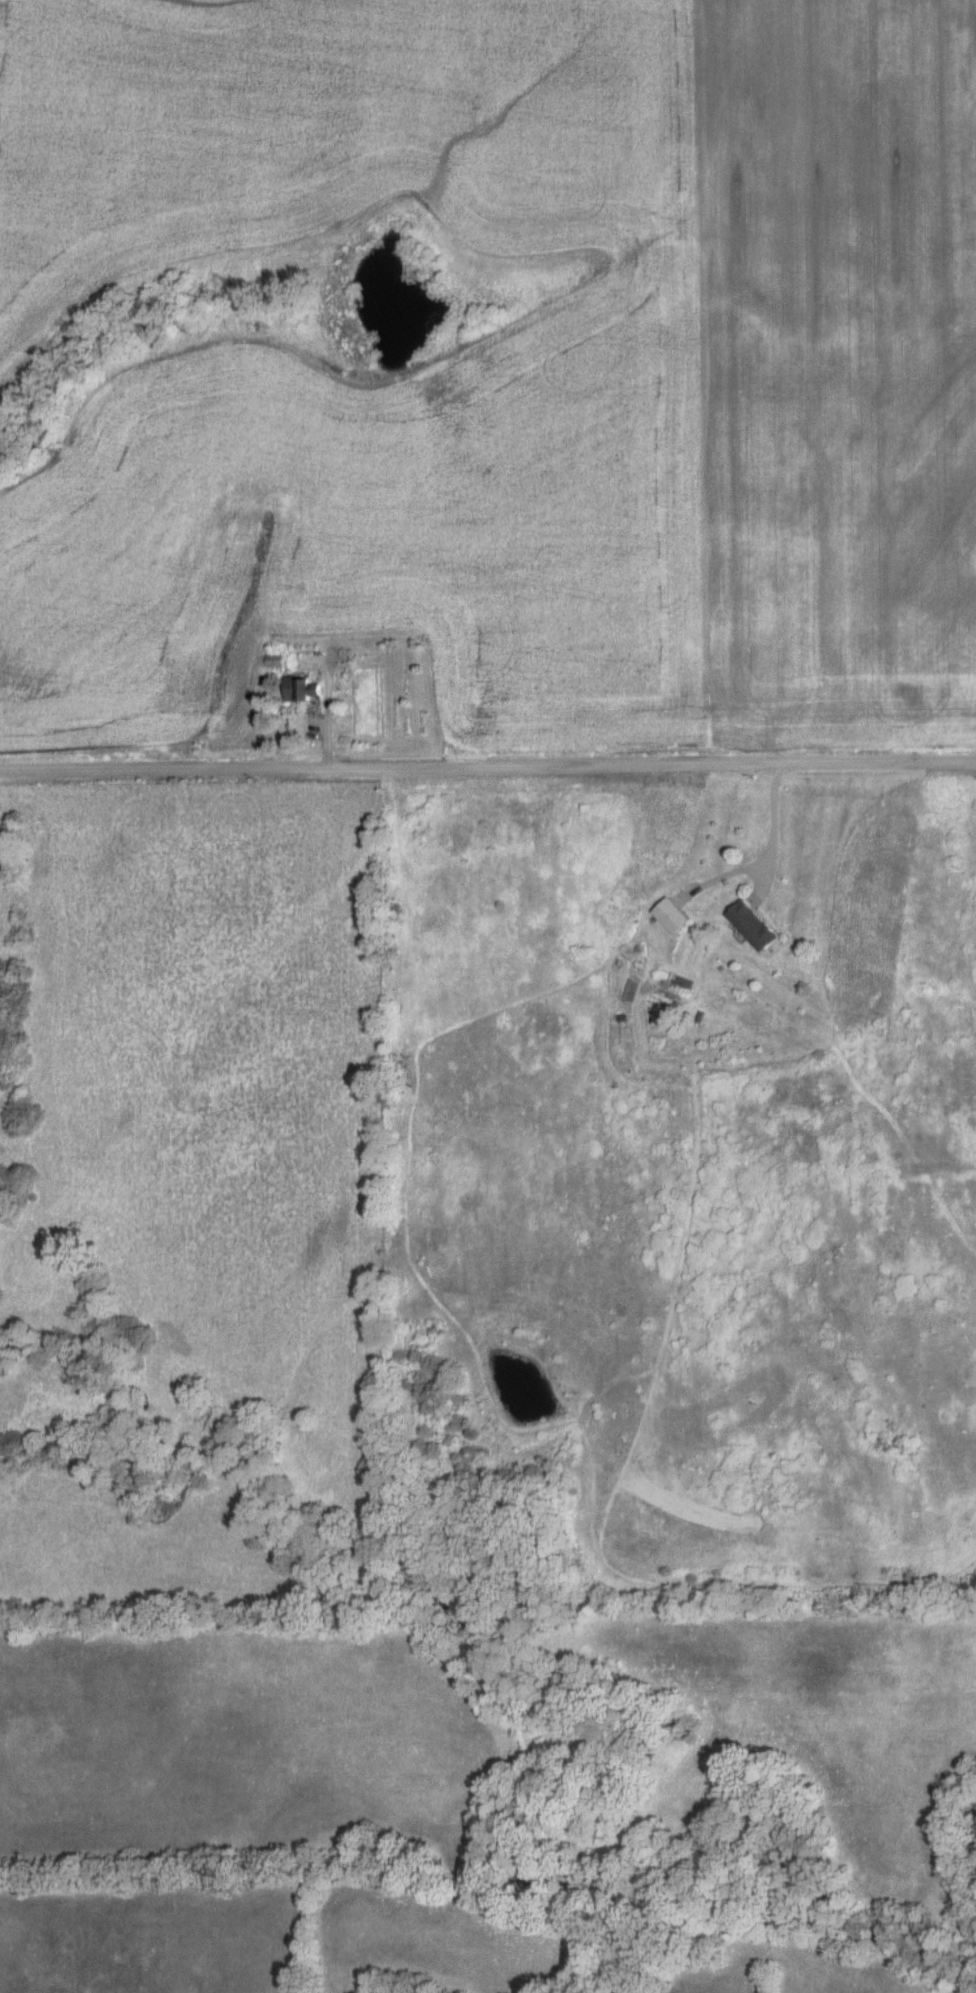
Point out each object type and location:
building: (273, 660)
building: (301, 688)
road: (488, 763)
building: (671, 914)
building: (753, 924)

